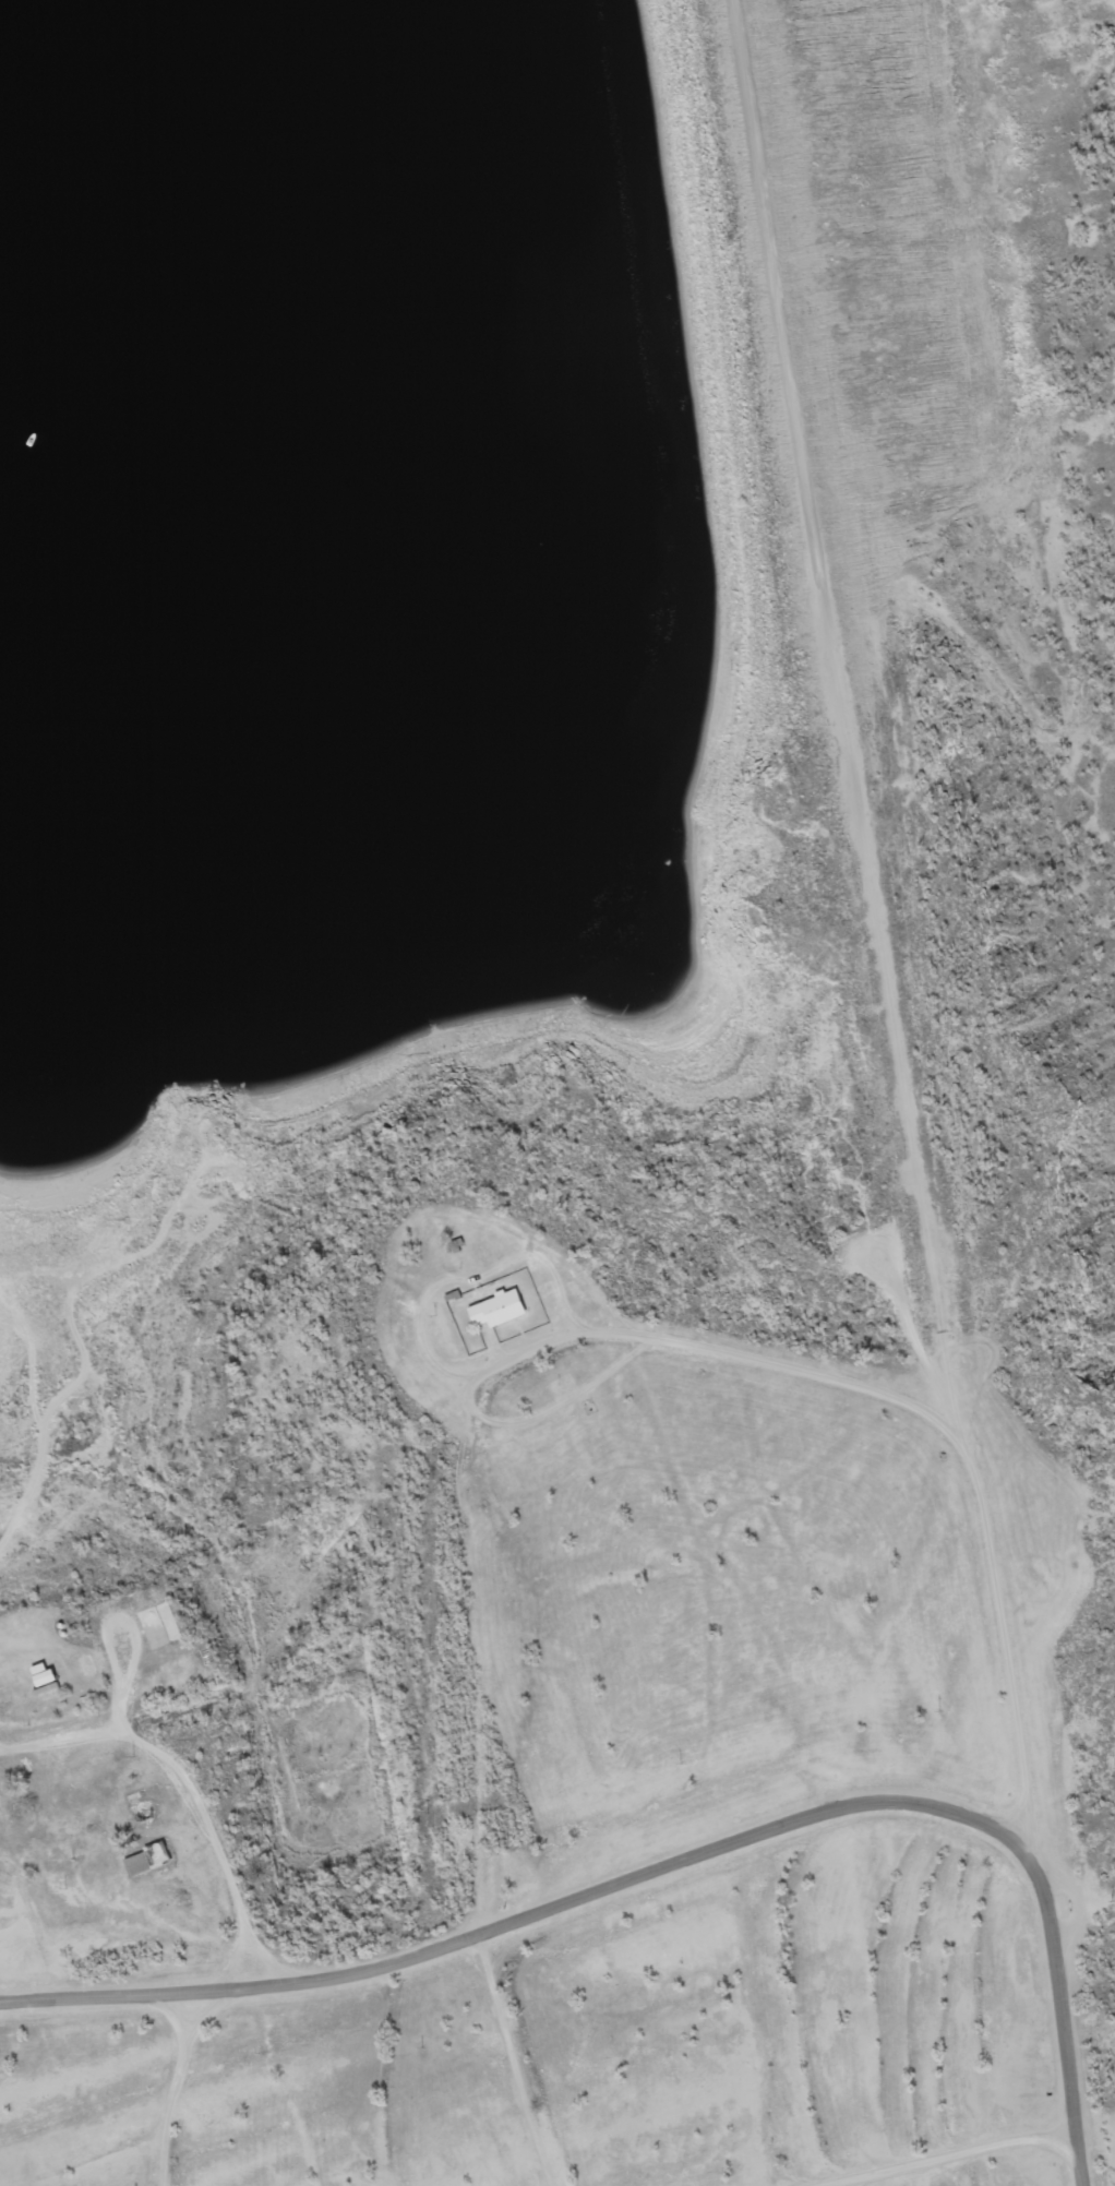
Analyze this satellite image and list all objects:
dam: (875, 271)
road: (836, 590)
road: (741, 1220)
road: (687, 1283)
building: (497, 1309)
road: (930, 1345)
road: (769, 1359)
building: (43, 1674)
building: (4, 1694)
building: (142, 1812)
road: (199, 1813)
road: (40, 1851)
road: (683, 1856)
building: (147, 1857)
road: (41, 1882)
road: (98, 1901)
road: (513, 2058)
road: (176, 2078)
road: (939, 2151)

